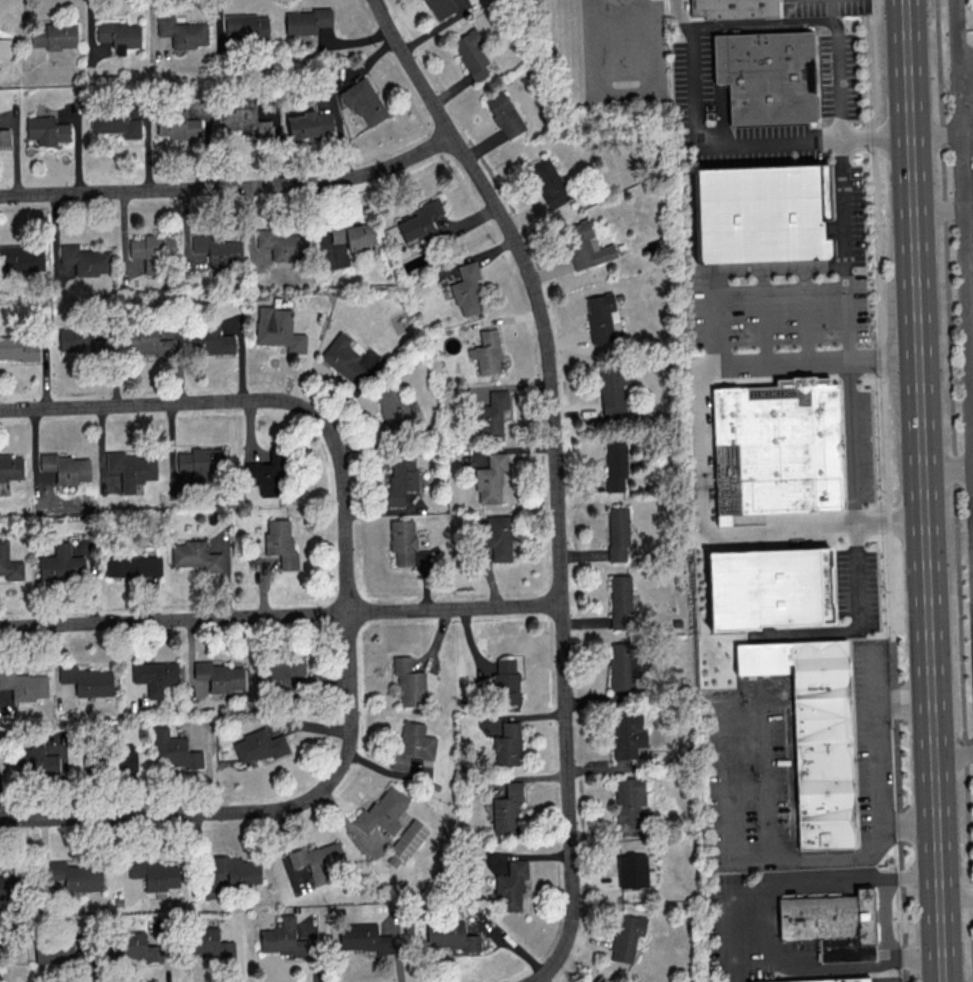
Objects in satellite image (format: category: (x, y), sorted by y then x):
building: (440, 7)
building: (737, 9)
road: (830, 10)
road: (681, 14)
building: (306, 20)
building: (246, 26)
building: (182, 31)
building: (54, 35)
building: (119, 35)
building: (5, 48)
building: (472, 53)
road: (965, 60)
road: (909, 67)
building: (769, 78)
road: (966, 85)
road: (620, 90)
building: (363, 101)
parking lot: (971, 101)
building: (504, 114)
building: (245, 118)
road: (837, 118)
building: (114, 122)
building: (309, 123)
building: (177, 124)
building: (47, 130)
road: (967, 131)
road: (936, 132)
building: (4, 136)
road: (748, 141)
road: (967, 174)
building: (548, 182)
road: (231, 187)
road: (968, 195)
road: (939, 210)
building: (761, 213)
building: (420, 220)
road: (968, 221)
parking lot: (971, 230)
building: (353, 234)
road: (964, 243)
building: (281, 244)
building: (585, 245)
building: (152, 250)
building: (218, 250)
building: (23, 257)
building: (85, 259)
road: (775, 267)
road: (969, 267)
building: (466, 289)
road: (970, 311)
parking lot: (778, 312)
road: (805, 313)
road: (763, 315)
building: (601, 317)
road: (711, 317)
building: (278, 328)
building: (80, 340)
building: (210, 340)
building: (147, 342)
building: (19, 348)
building: (487, 352)
road: (971, 355)
building: (343, 359)
road: (816, 359)
building: (613, 392)
road: (971, 396)
road: (165, 404)
building: (492, 414)
road: (972, 443)
building: (780, 448)
building: (200, 463)
building: (615, 464)
building: (10, 467)
building: (65, 467)
building: (131, 469)
road: (948, 469)
building: (268, 474)
road: (955, 474)
road: (555, 475)
building: (401, 478)
building: (490, 478)
road: (886, 489)
road: (730, 530)
building: (618, 533)
building: (498, 537)
building: (280, 541)
building: (402, 541)
building: (195, 555)
road: (927, 558)
building: (9, 563)
building: (61, 563)
building: (133, 566)
building: (798, 579)
road: (347, 586)
road: (719, 594)
building: (620, 601)
road: (280, 616)
road: (825, 621)
building: (623, 666)
building: (279, 671)
building: (155, 676)
building: (219, 676)
building: (87, 680)
building: (408, 682)
building: (505, 682)
building: (24, 684)
road: (880, 702)
building: (627, 733)
building: (816, 734)
building: (412, 744)
building: (507, 744)
building: (258, 746)
building: (171, 750)
road: (953, 752)
building: (124, 757)
building: (34, 760)
road: (885, 766)
building: (628, 798)
building: (507, 809)
road: (185, 812)
building: (382, 812)
building: (408, 840)
building: (318, 861)
road: (772, 861)
building: (237, 869)
building: (633, 871)
building: (155, 874)
building: (76, 875)
road: (821, 880)
building: (510, 886)
building: (7, 887)
road: (956, 905)
road: (885, 923)
building: (831, 924)
road: (727, 928)
building: (450, 936)
building: (626, 936)
building: (282, 938)
building: (364, 938)
building: (208, 943)
building: (133, 946)
building: (57, 952)
road: (856, 969)
building: (601, 979)
building: (828, 980)
road: (889, 980)

